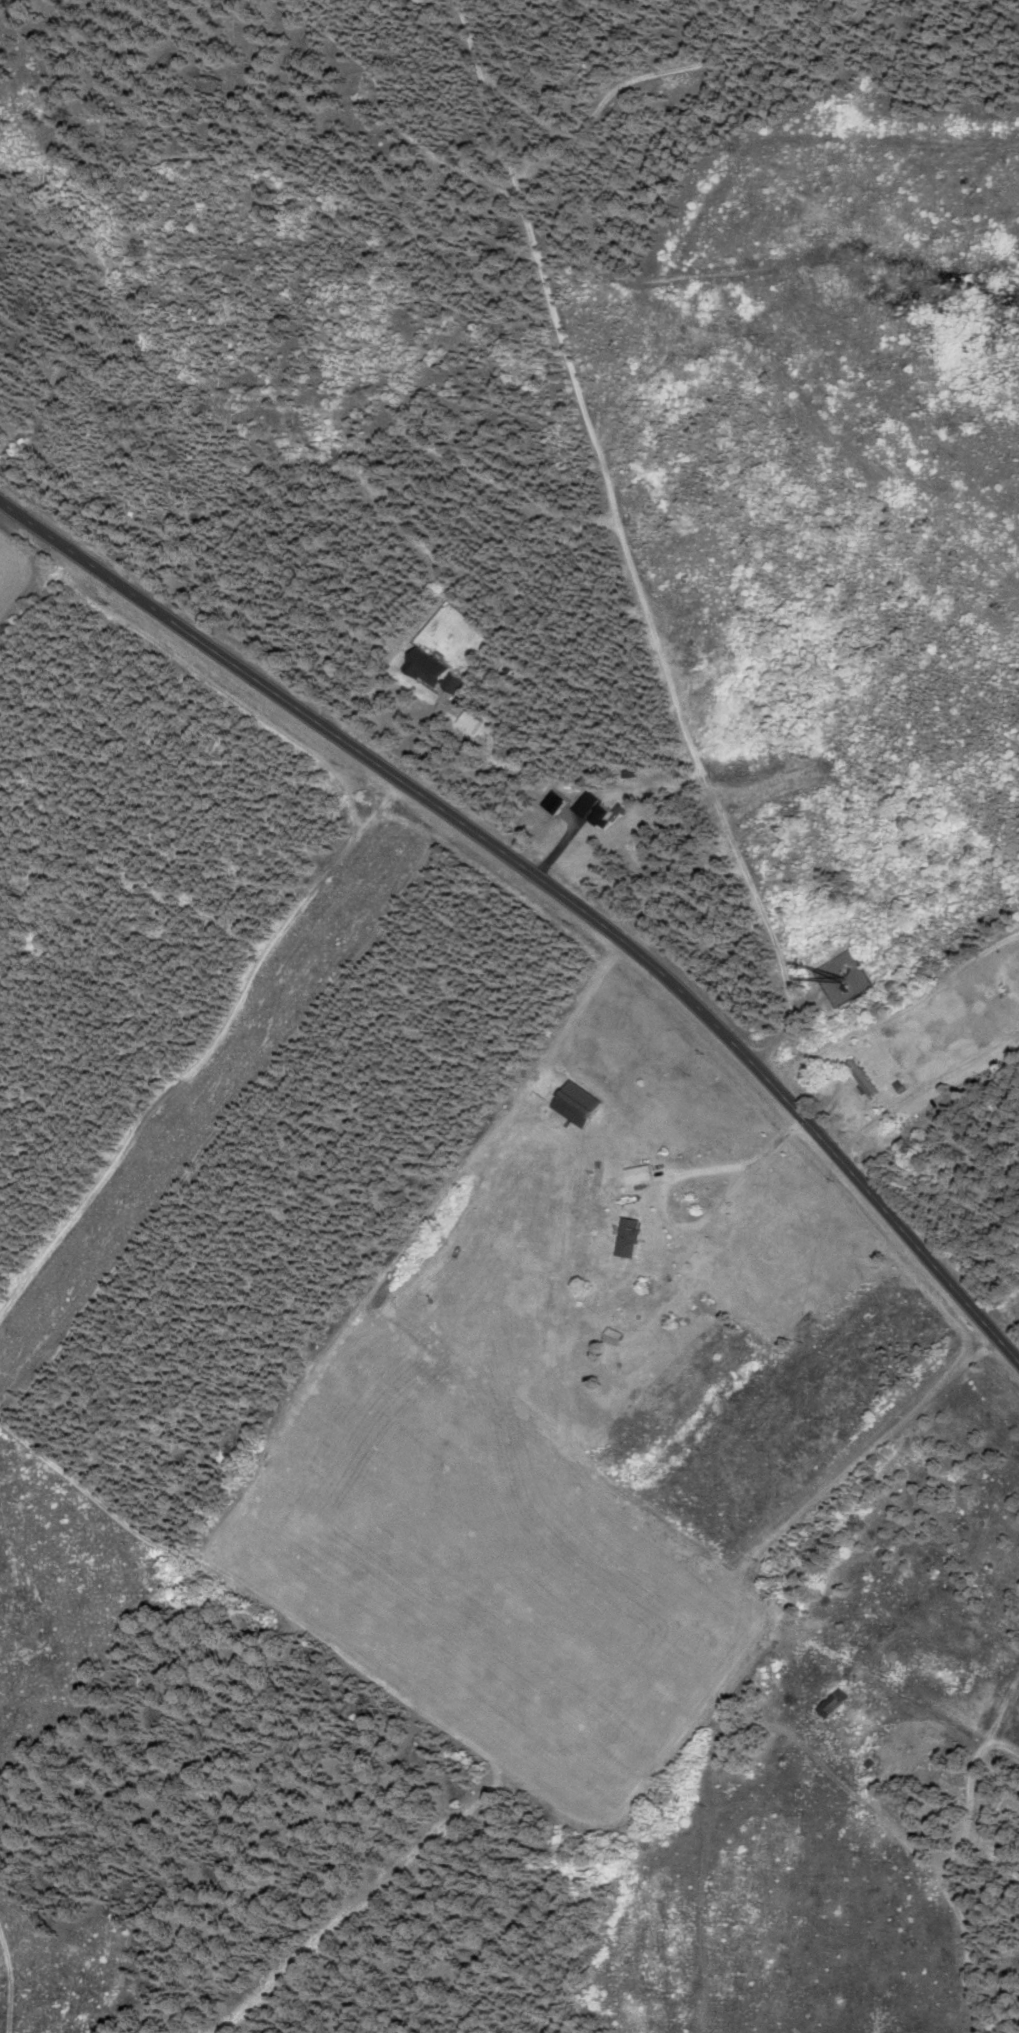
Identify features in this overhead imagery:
building: (435, 670)
building: (472, 720)
building: (596, 809)
road: (545, 885)
building: (863, 1076)
building: (580, 1103)
building: (641, 1173)
building: (630, 1236)
building: (834, 1701)

